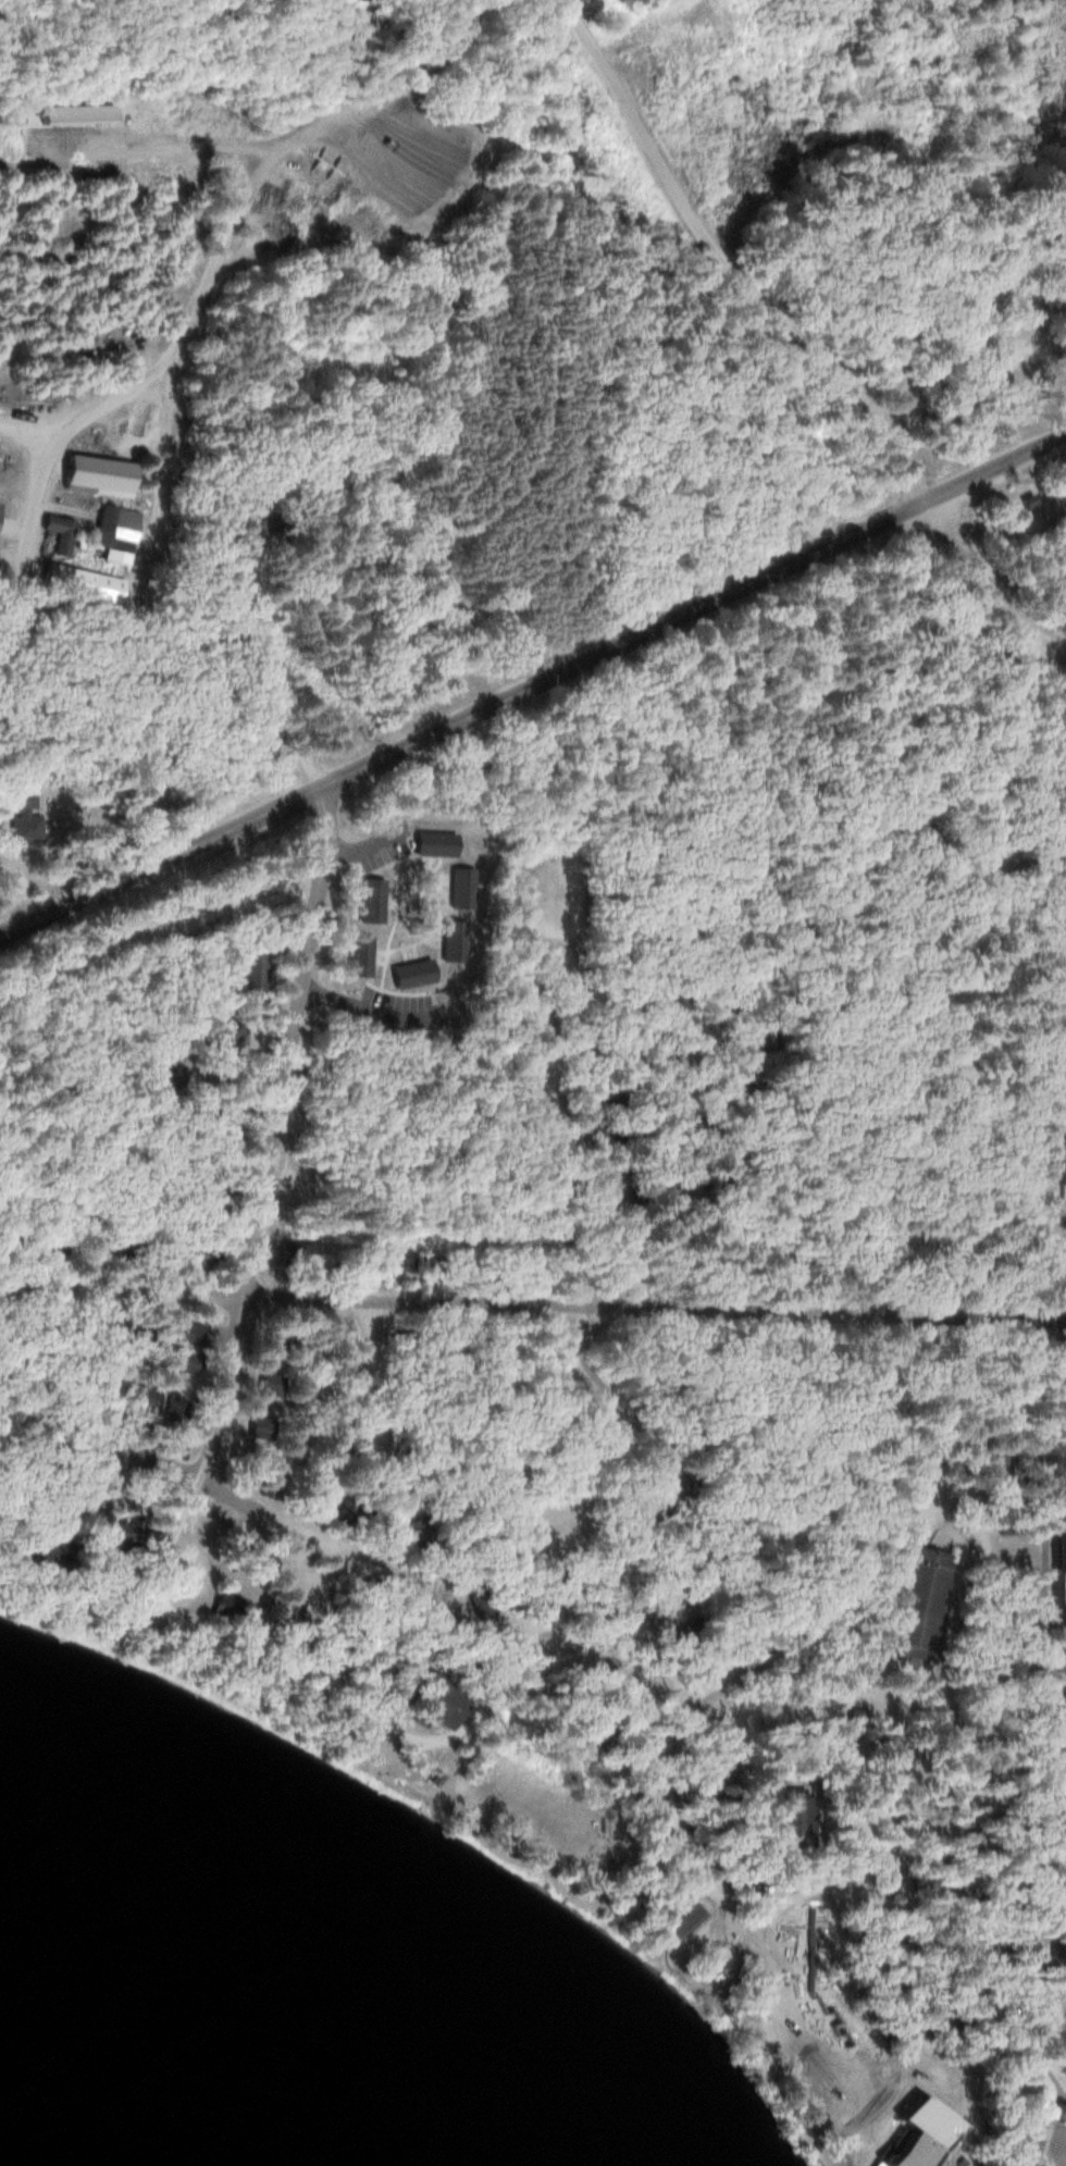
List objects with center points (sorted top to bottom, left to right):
road: (710, 239)
road: (207, 279)
building: (980, 299)
road: (927, 367)
building: (1031, 368)
building: (92, 470)
building: (51, 530)
building: (111, 530)
building: (97, 589)
road: (982, 589)
road: (532, 684)
building: (262, 745)
building: (18, 803)
building: (246, 970)
building: (215, 1037)
road: (915, 1048)
building: (1065, 1052)
building: (161, 1081)
building: (1053, 1159)
road: (255, 1188)
building: (373, 1259)
building: (402, 1261)
road: (532, 1302)
building: (333, 1338)
building: (272, 1339)
building: (334, 1364)
building: (268, 1385)
building: (400, 1396)
building: (117, 1400)
building: (330, 1449)
road: (917, 1492)
building: (311, 1501)
building: (340, 1512)
building: (114, 1531)
road: (685, 1540)
building: (30, 1555)
building: (252, 1556)
building: (1061, 1562)
building: (913, 1600)
building: (618, 1604)
building: (648, 1608)
building: (225, 1609)
road: (1011, 1611)
building: (281, 1613)
road: (597, 1637)
building: (427, 1704)
building: (1031, 1804)
building: (780, 1820)
building: (1006, 1823)
building: (975, 1845)
building: (950, 1867)
road: (706, 1877)
building: (925, 1887)
park: (684, 1909)
park: (717, 1941)
park: (733, 1965)
road: (1007, 2018)
road: (1050, 2035)
road: (1043, 2059)
building: (808, 2087)
building: (916, 2097)
road: (1058, 2108)
building: (935, 2163)

